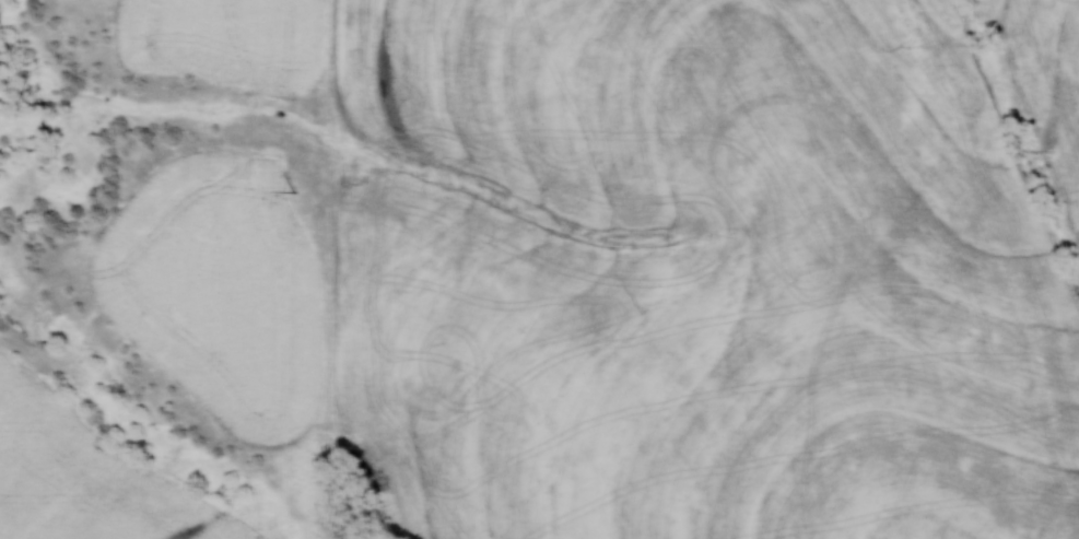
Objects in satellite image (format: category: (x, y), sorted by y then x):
power tower: (293, 191)

